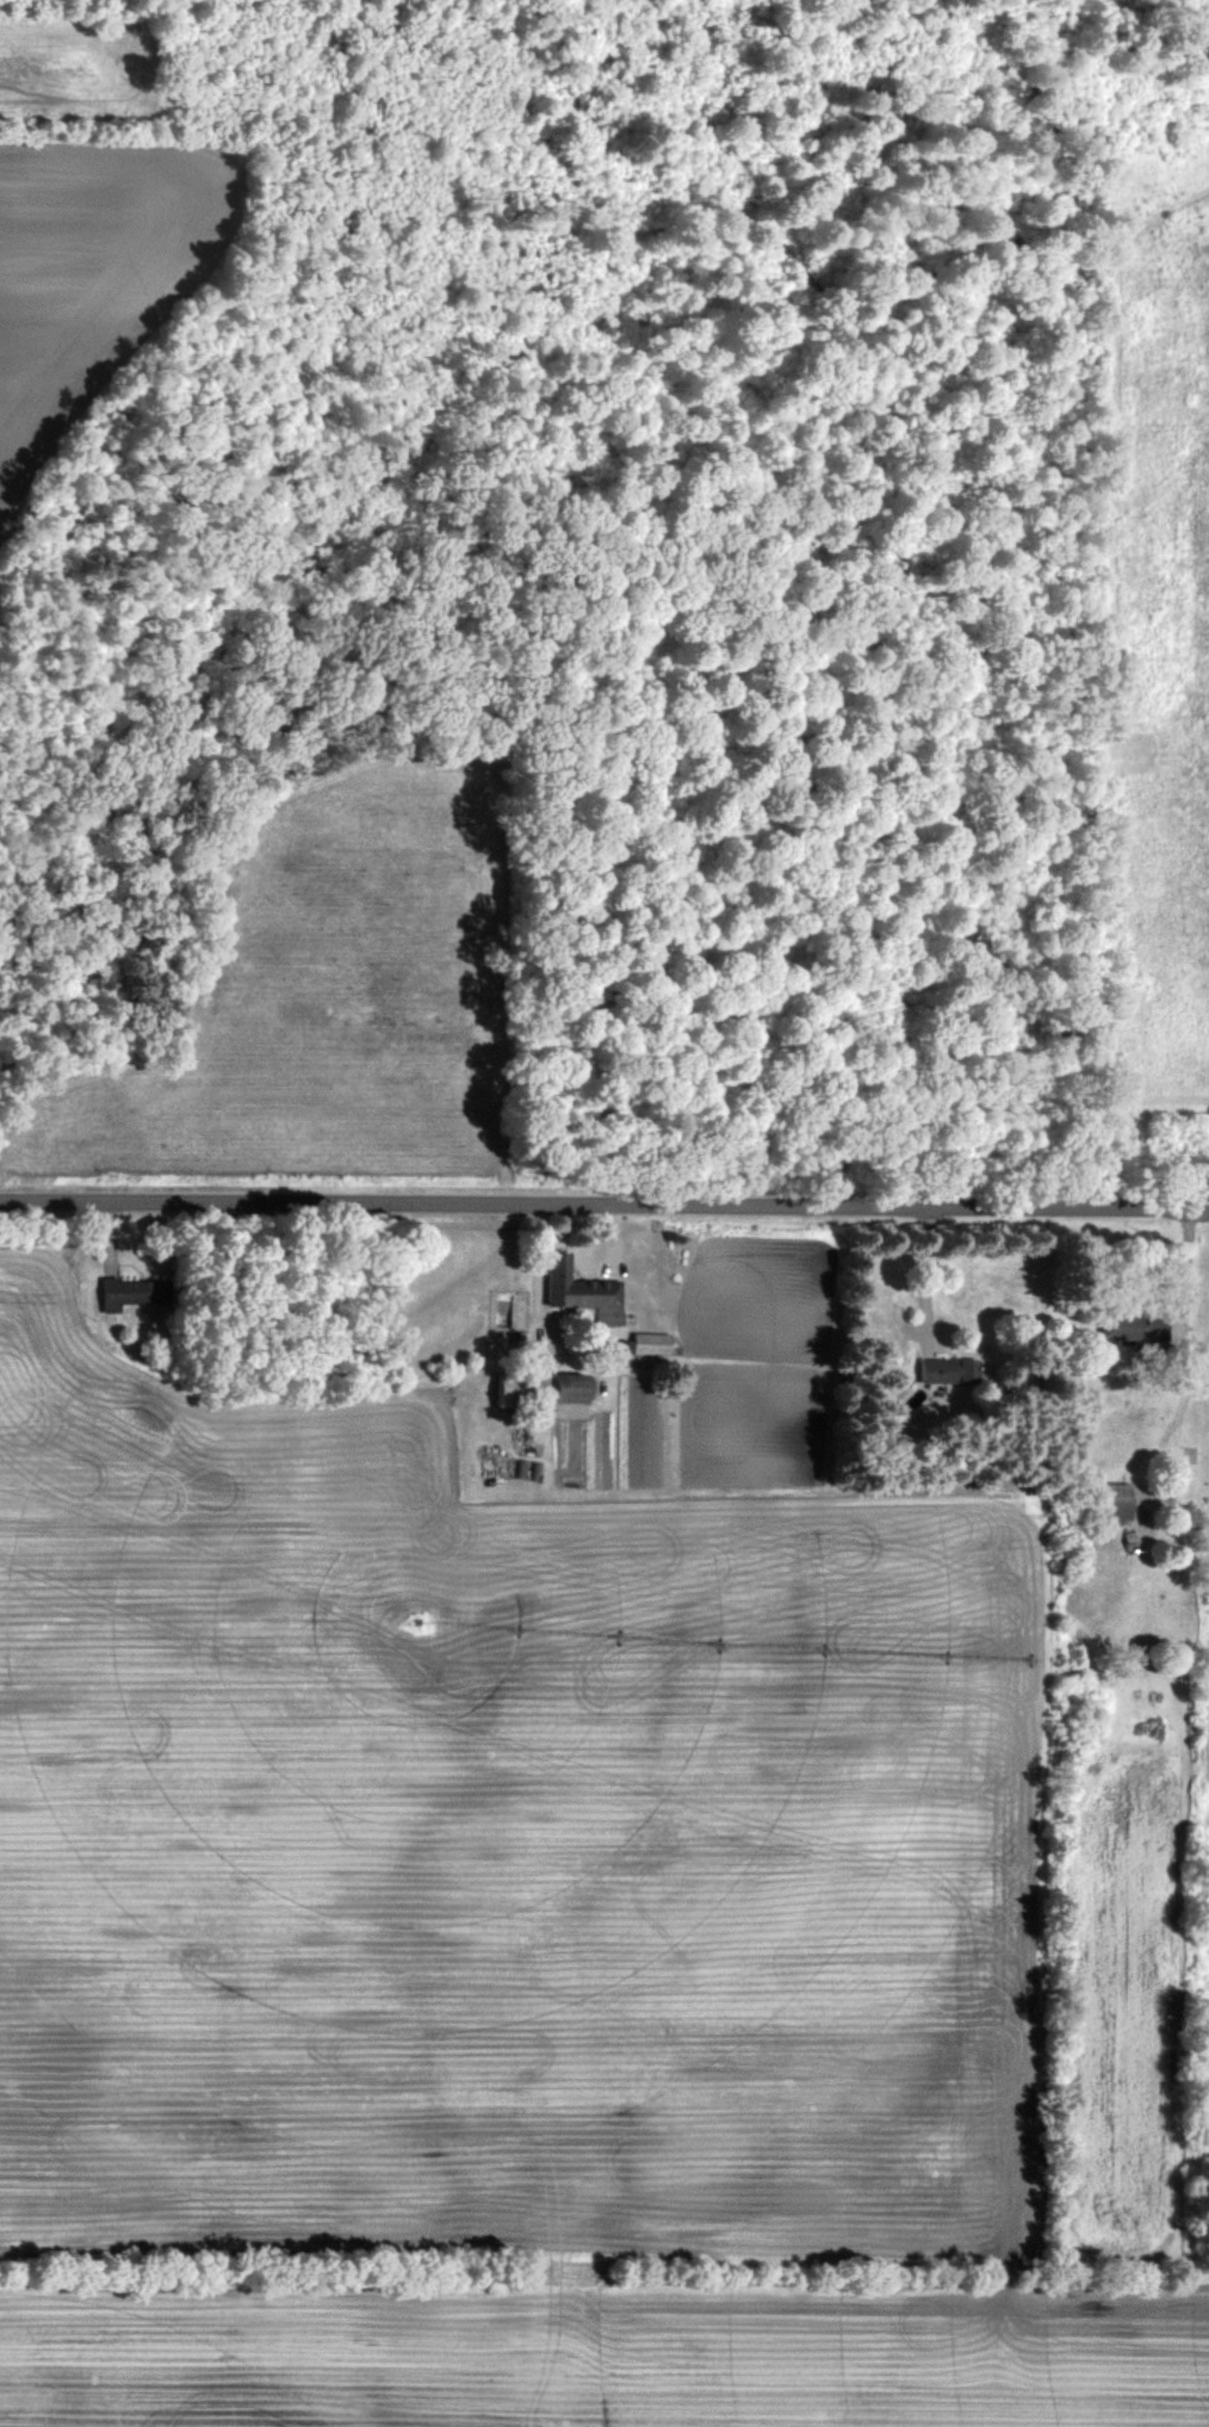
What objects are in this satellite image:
road: (603, 1207)
road: (1177, 1274)
road: (931, 1277)
building: (577, 1292)
building: (130, 1294)
building: (943, 1372)
building: (538, 1394)
building: (1111, 1503)

